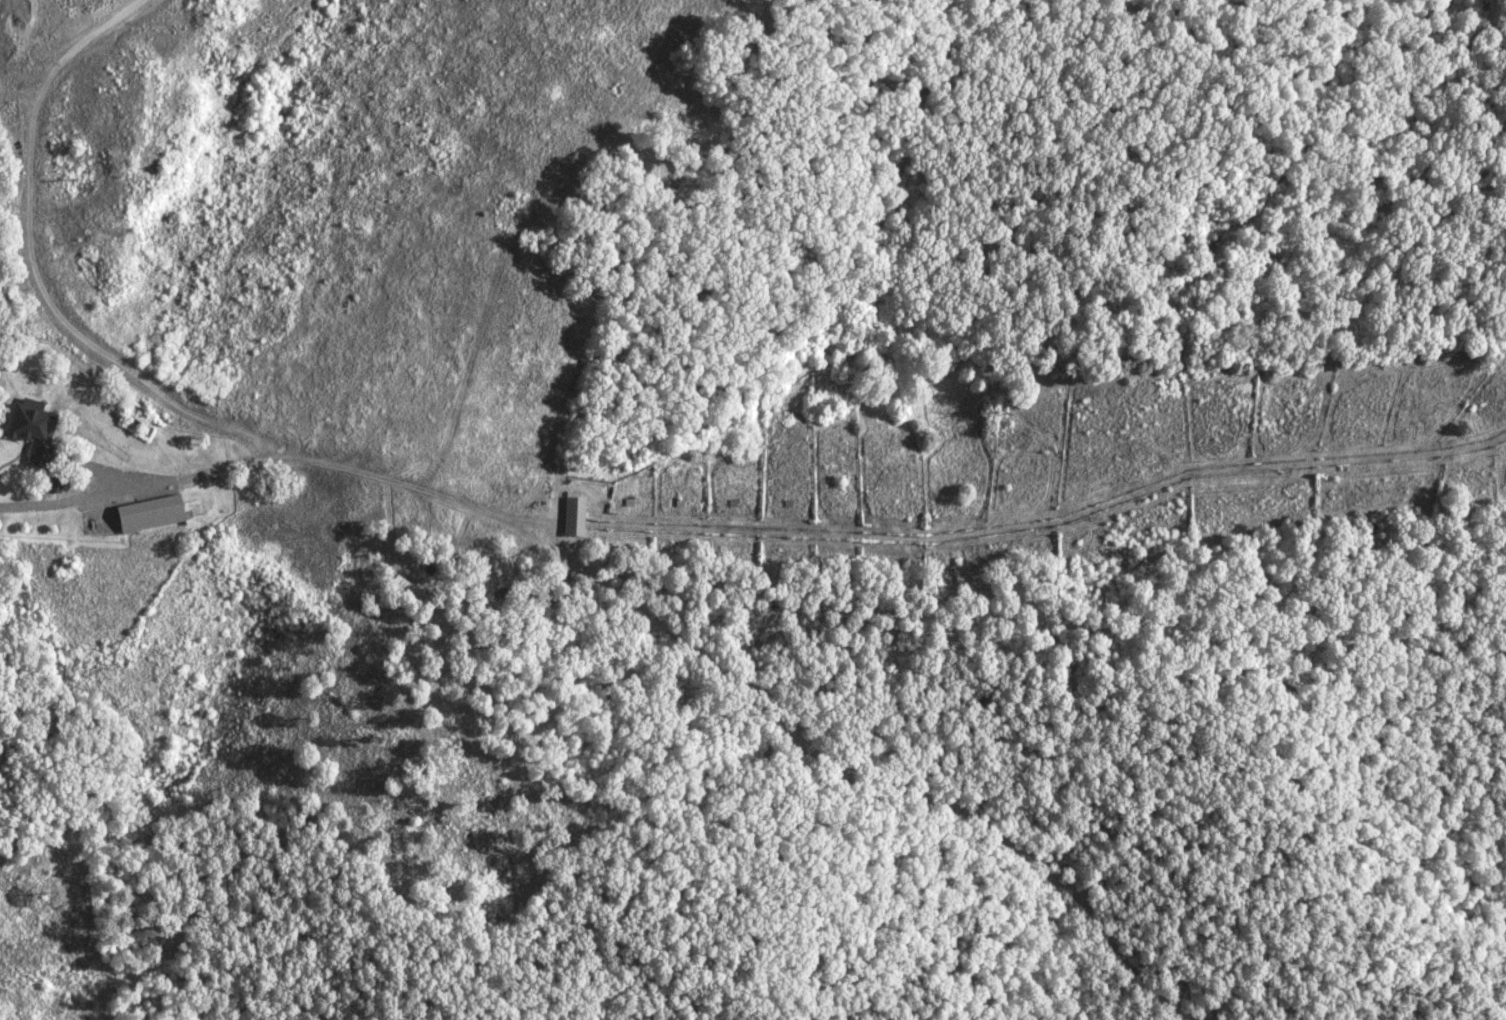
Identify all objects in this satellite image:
quarry: (46, 52)
road: (32, 269)
building: (27, 420)
road: (98, 470)
road: (365, 475)
building: (54, 481)
road: (88, 498)
building: (146, 512)
building: (570, 515)

